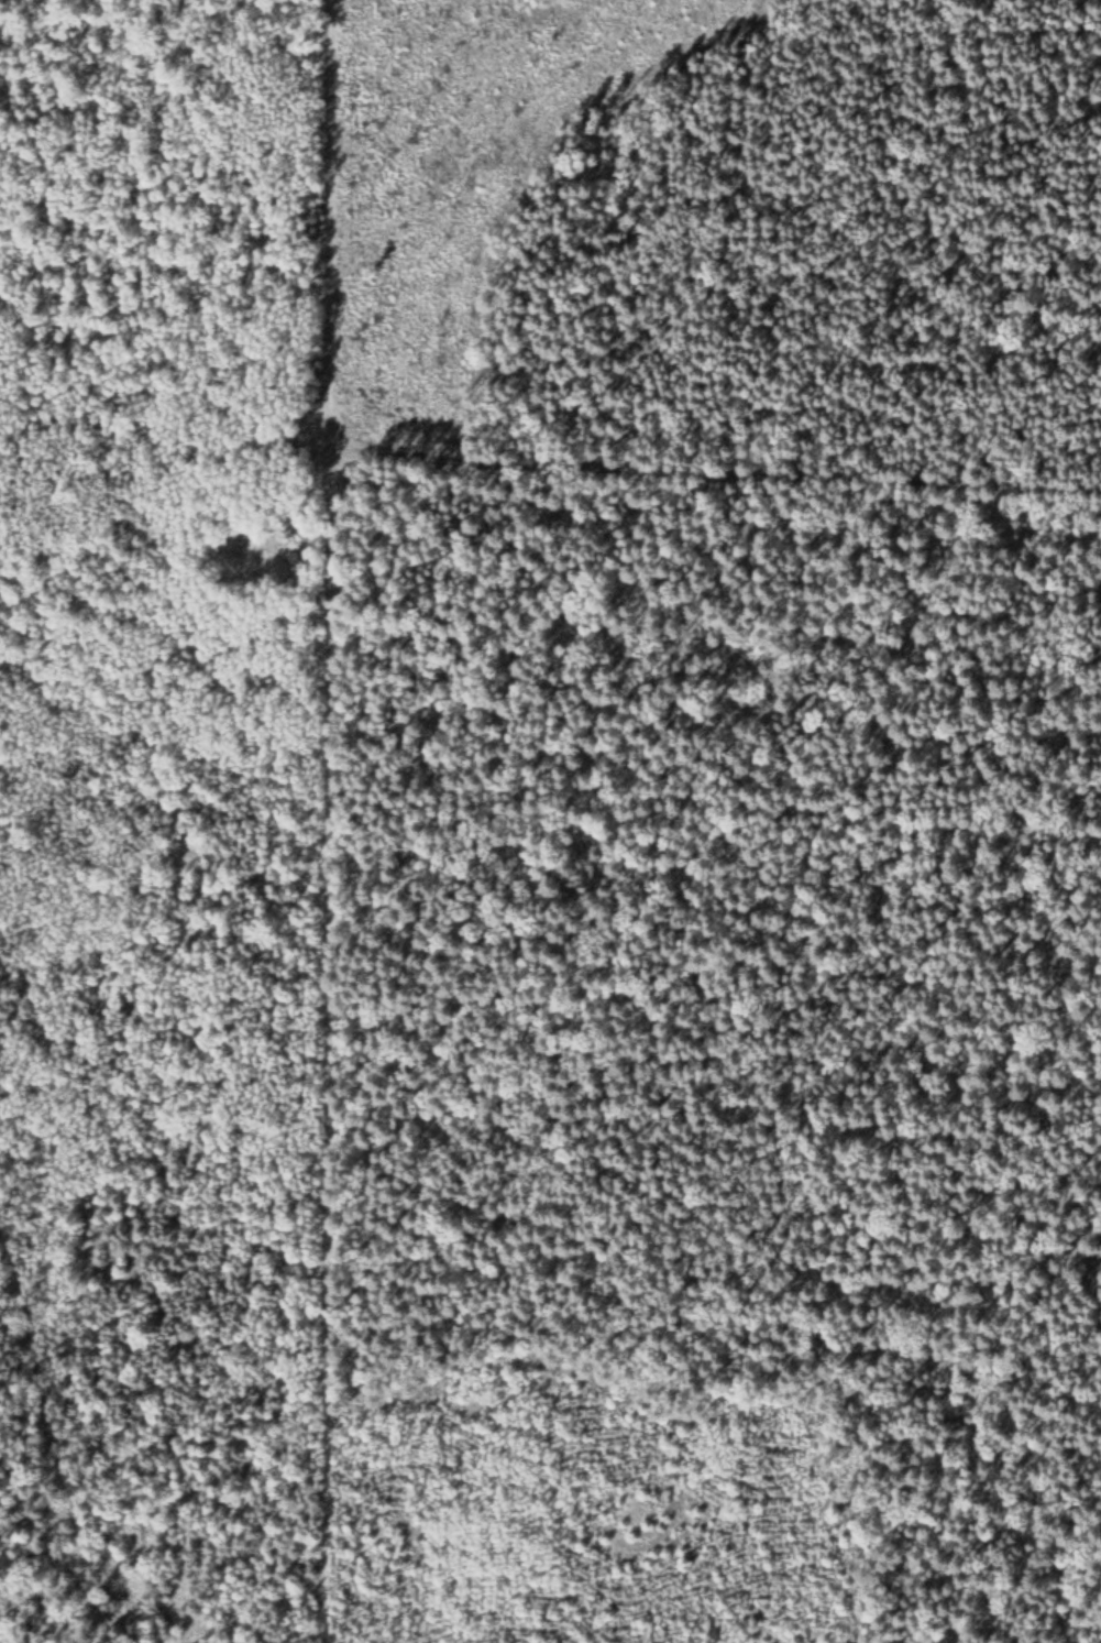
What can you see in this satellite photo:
road: (713, 472)
road: (943, 760)
road: (328, 821)
road: (55, 1446)

